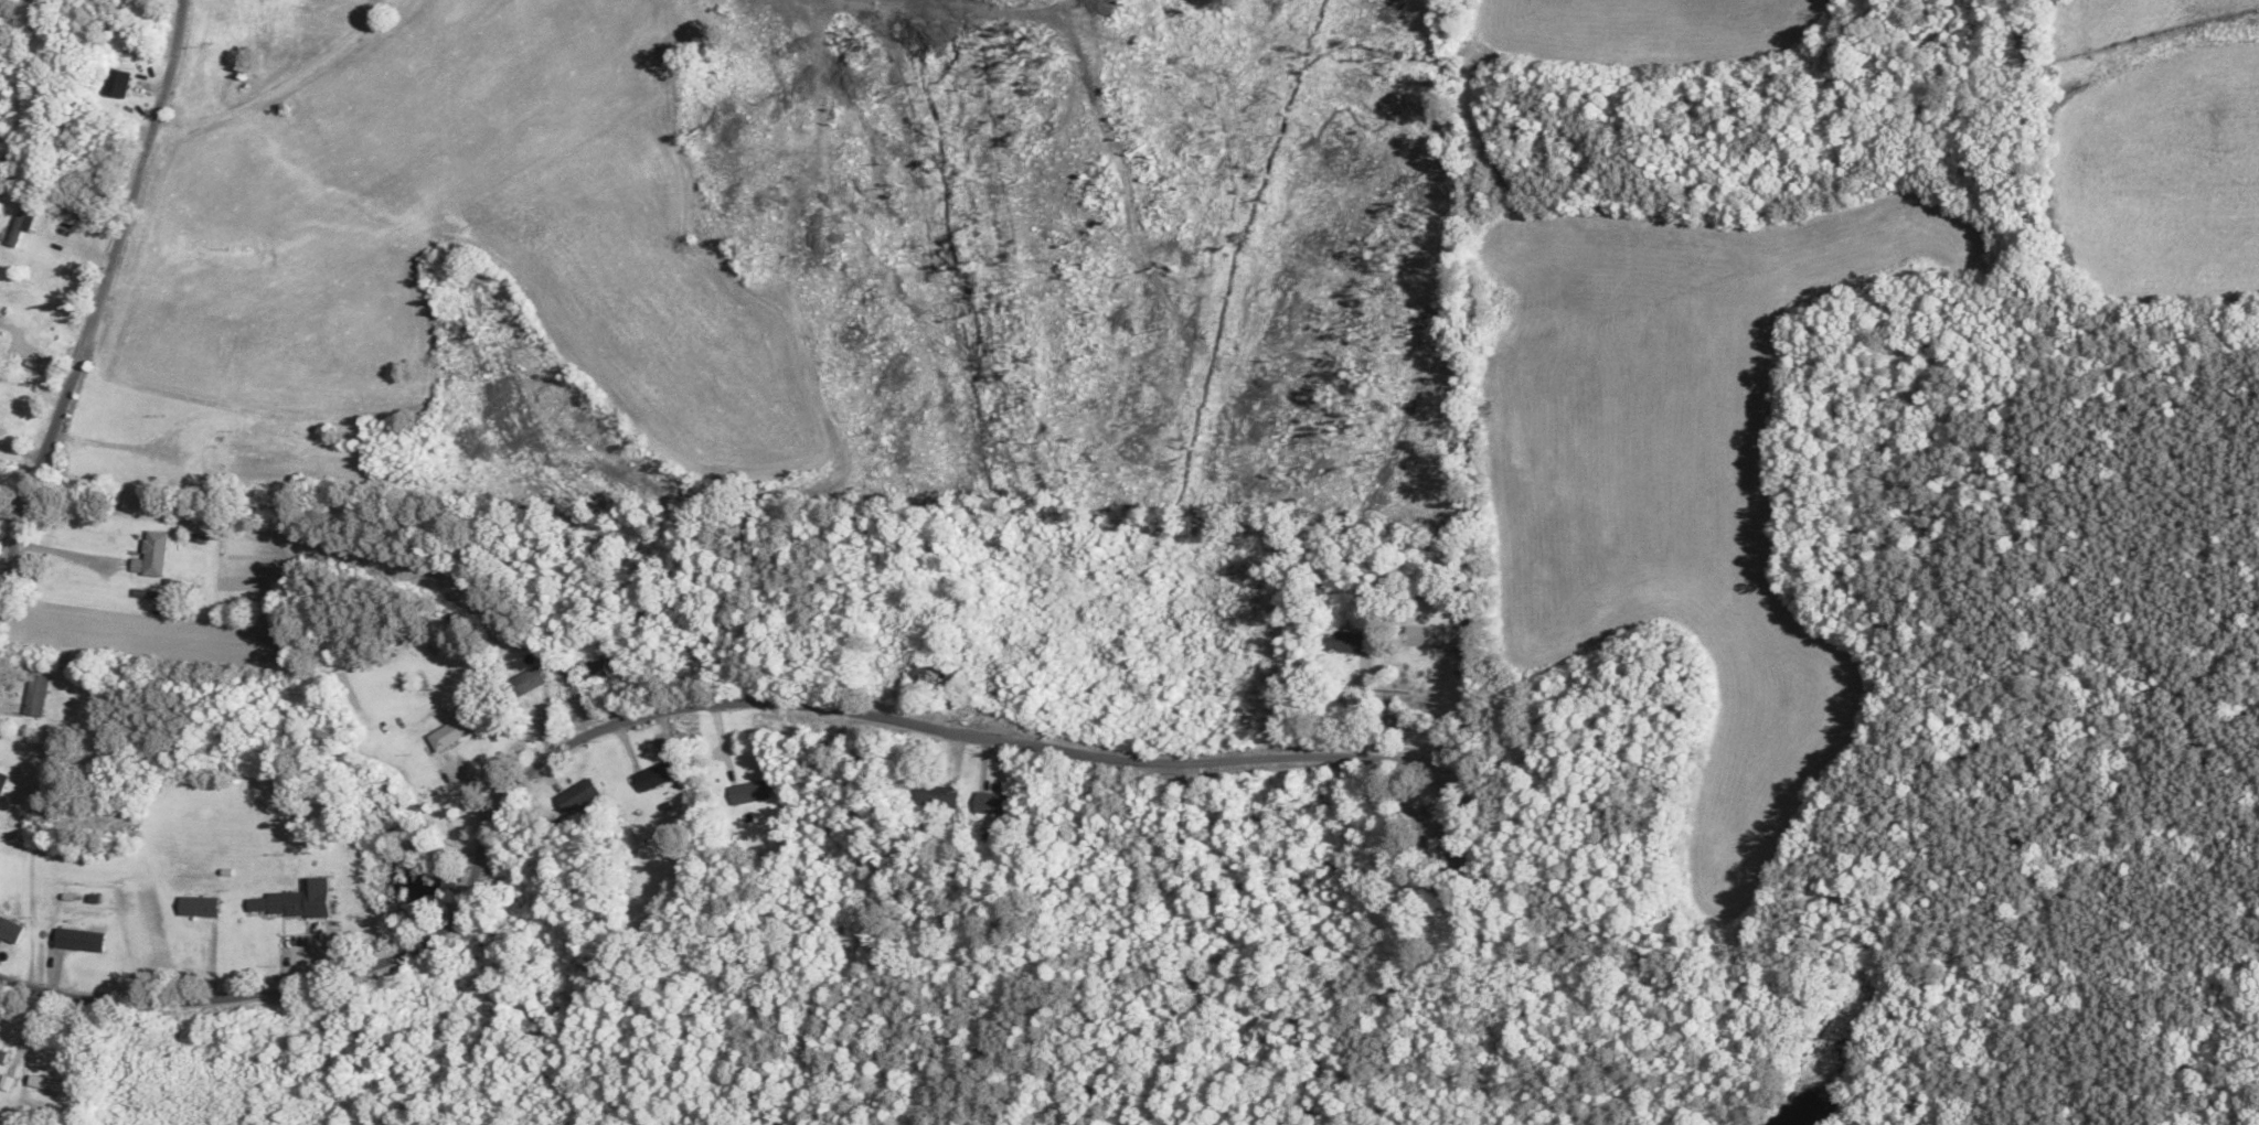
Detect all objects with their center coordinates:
building: (111, 85)
road: (93, 310)
building: (205, 461)
building: (148, 556)
building: (1416, 637)
building: (1344, 644)
building: (589, 671)
building: (929, 676)
building: (518, 686)
building: (32, 695)
building: (446, 735)
road: (605, 750)
building: (651, 776)
building: (1, 780)
building: (750, 792)
building: (574, 796)
building: (934, 797)
building: (989, 807)
building: (297, 901)
building: (193, 907)
building: (75, 941)
building: (1, 1057)
building: (44, 1085)

